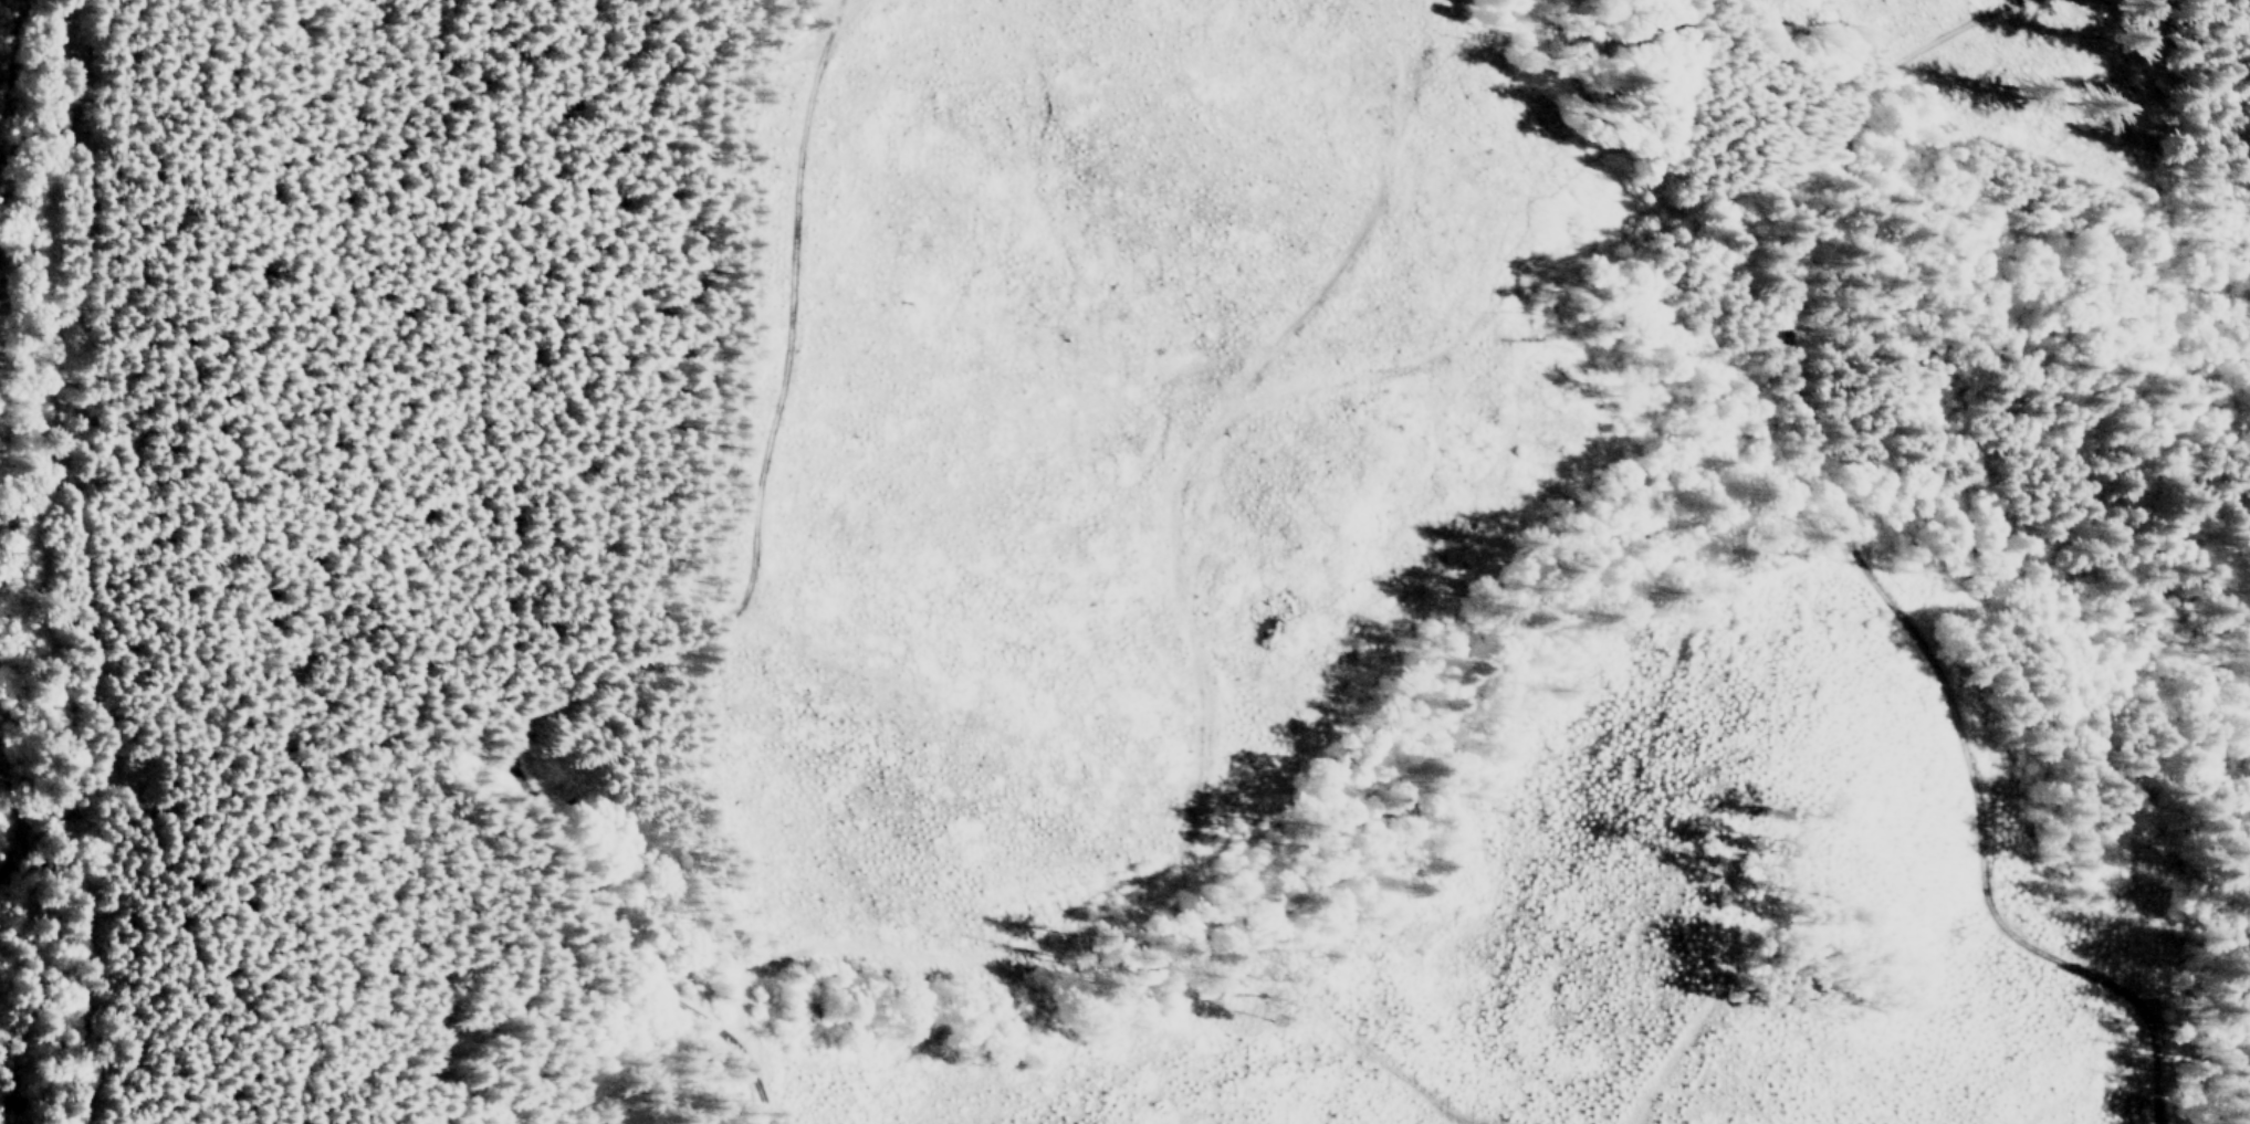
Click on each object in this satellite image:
crop: (1466, 569)
road: (27, 824)

